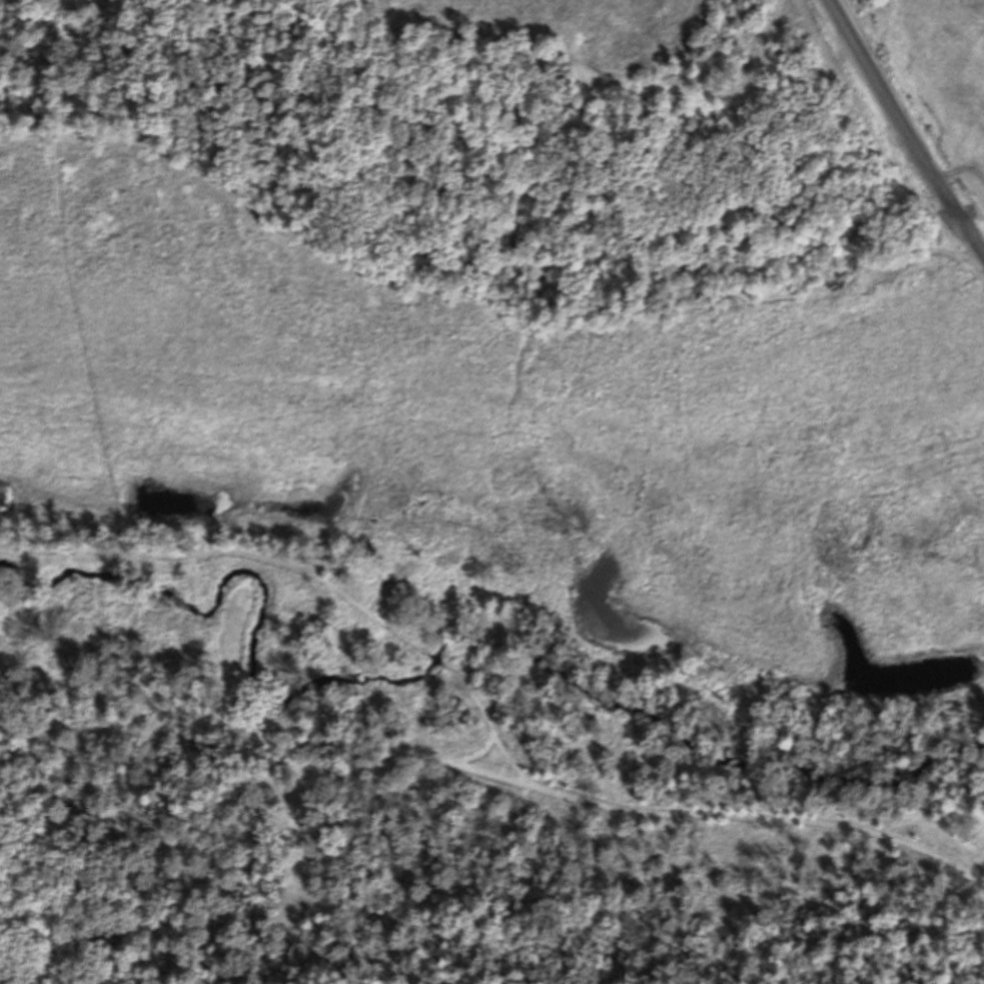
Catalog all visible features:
road: (906, 125)

